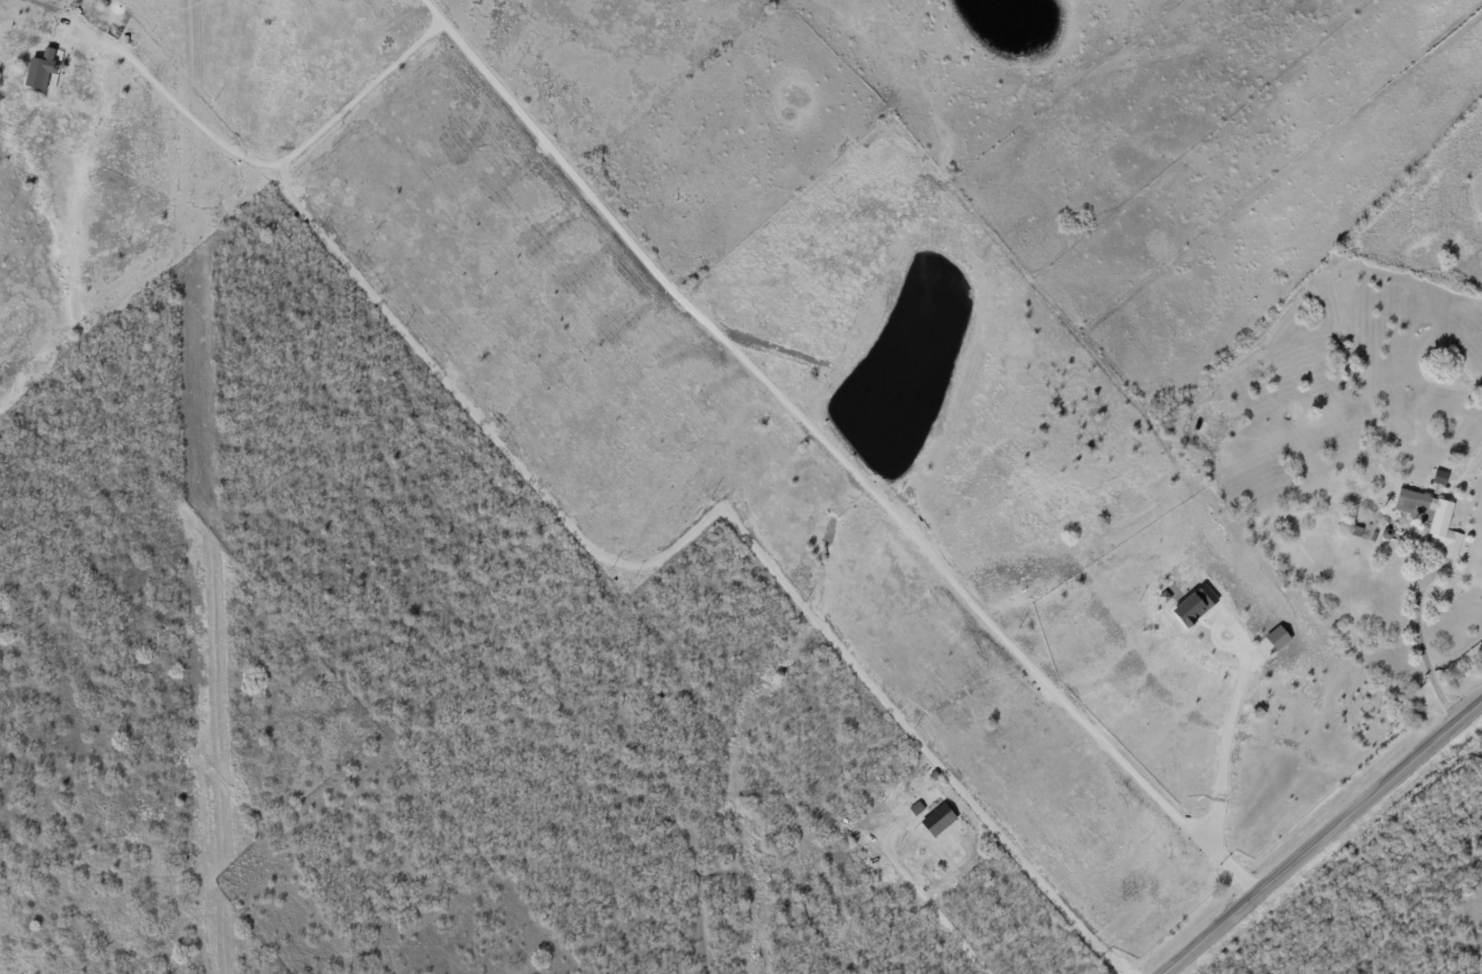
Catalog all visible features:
building: (38, 70)
road: (253, 167)
road: (825, 455)
building: (1440, 476)
building: (1431, 518)
building: (1194, 604)
road: (1423, 651)
building: (938, 819)
road: (1322, 837)
road: (934, 910)

